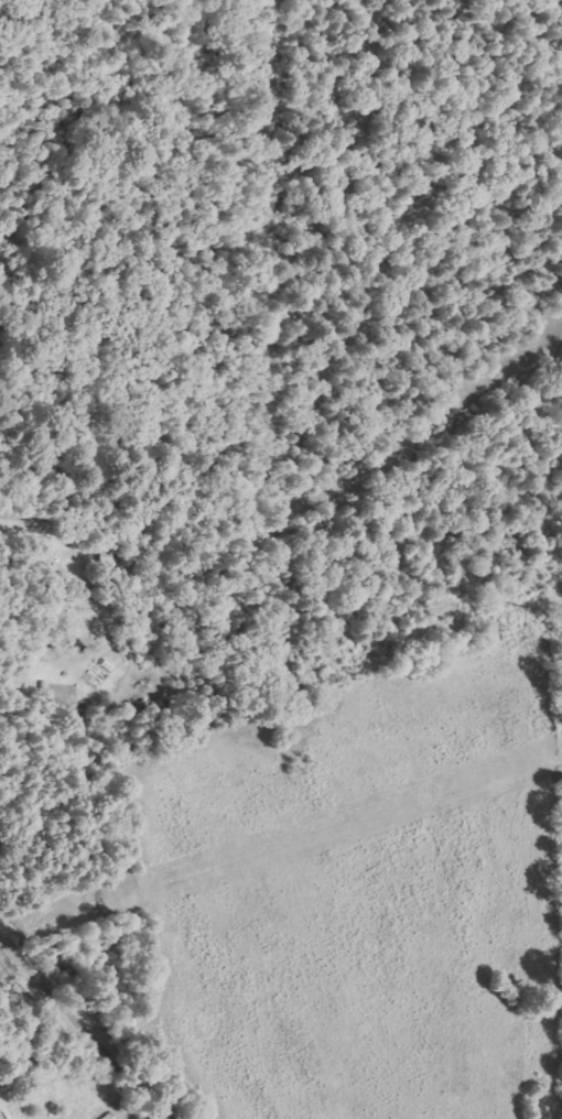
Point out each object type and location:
road: (83, 1022)

